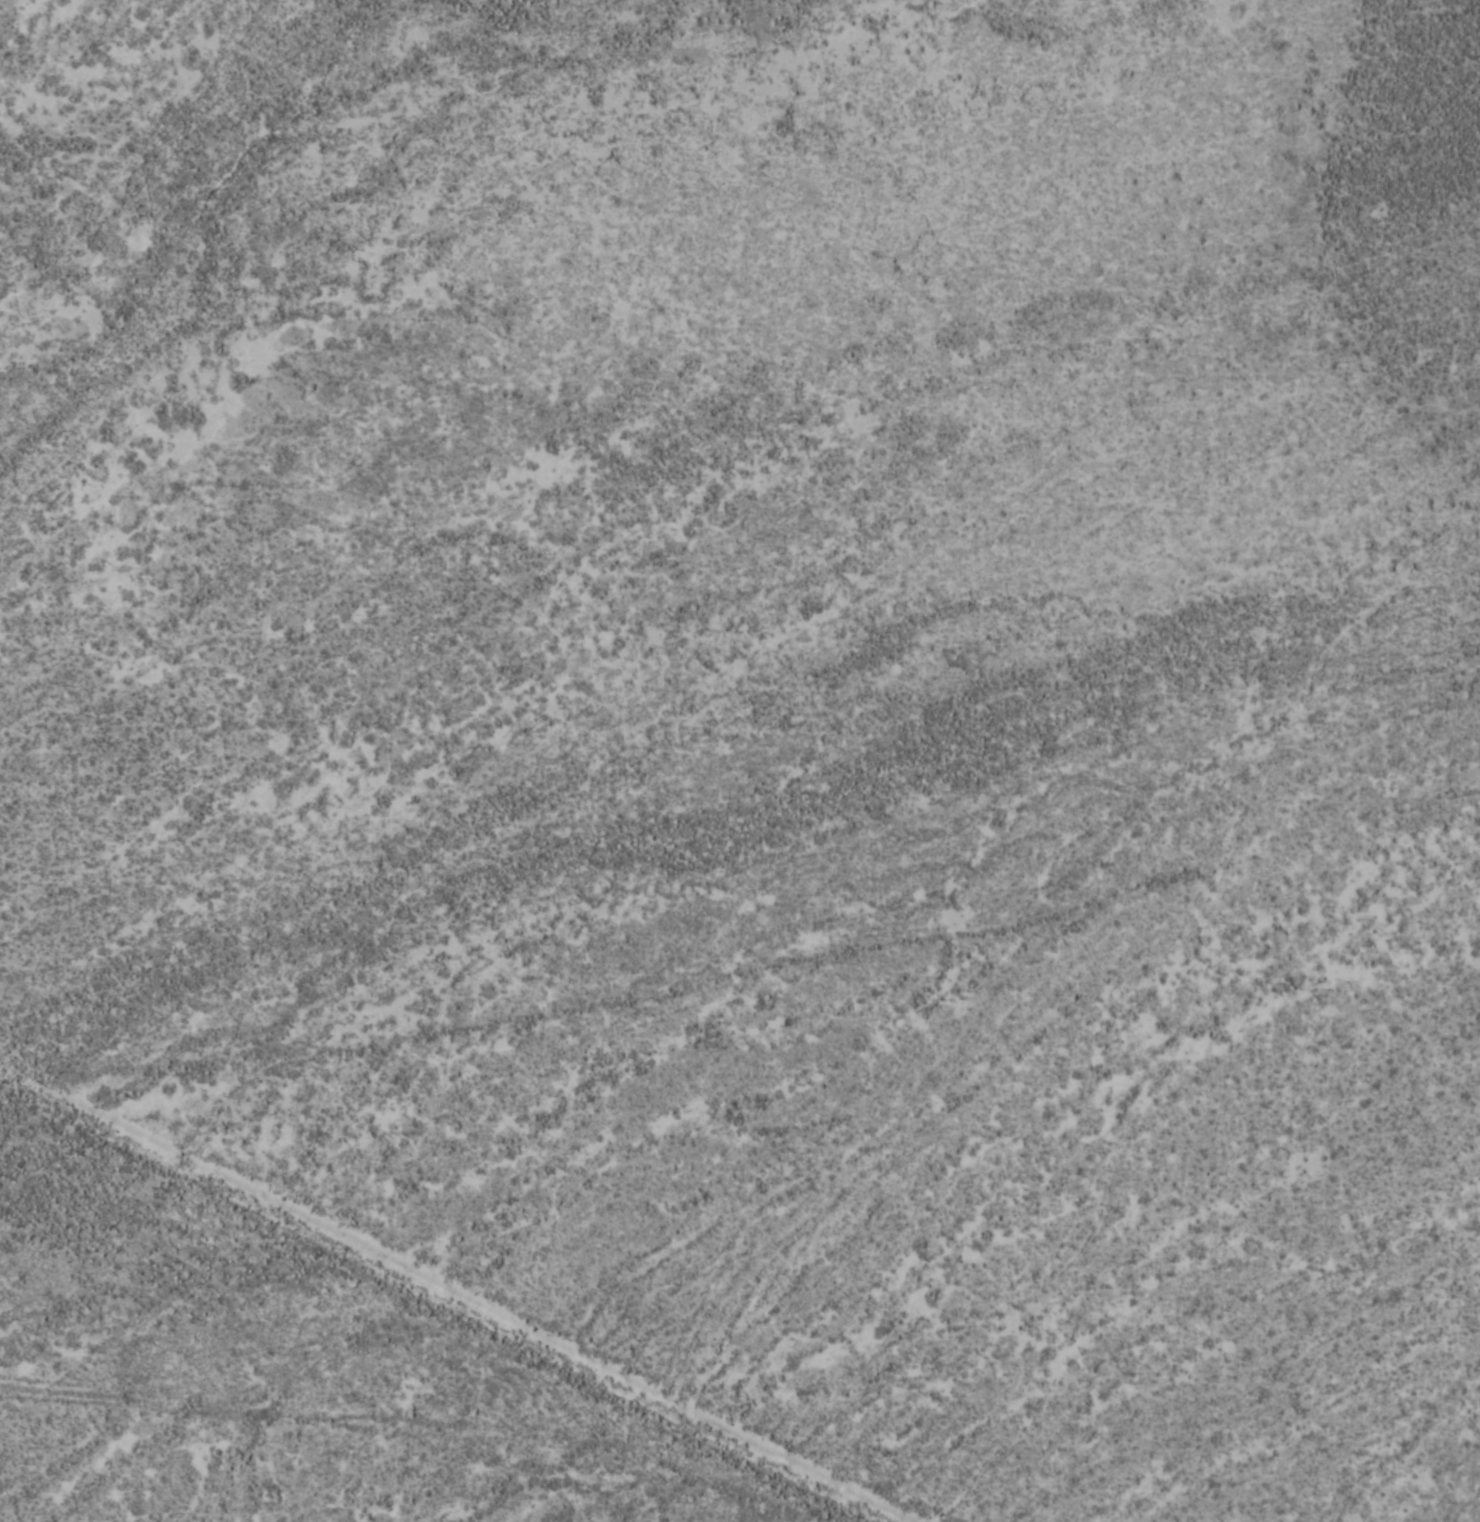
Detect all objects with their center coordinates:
crop: (740, 761)

